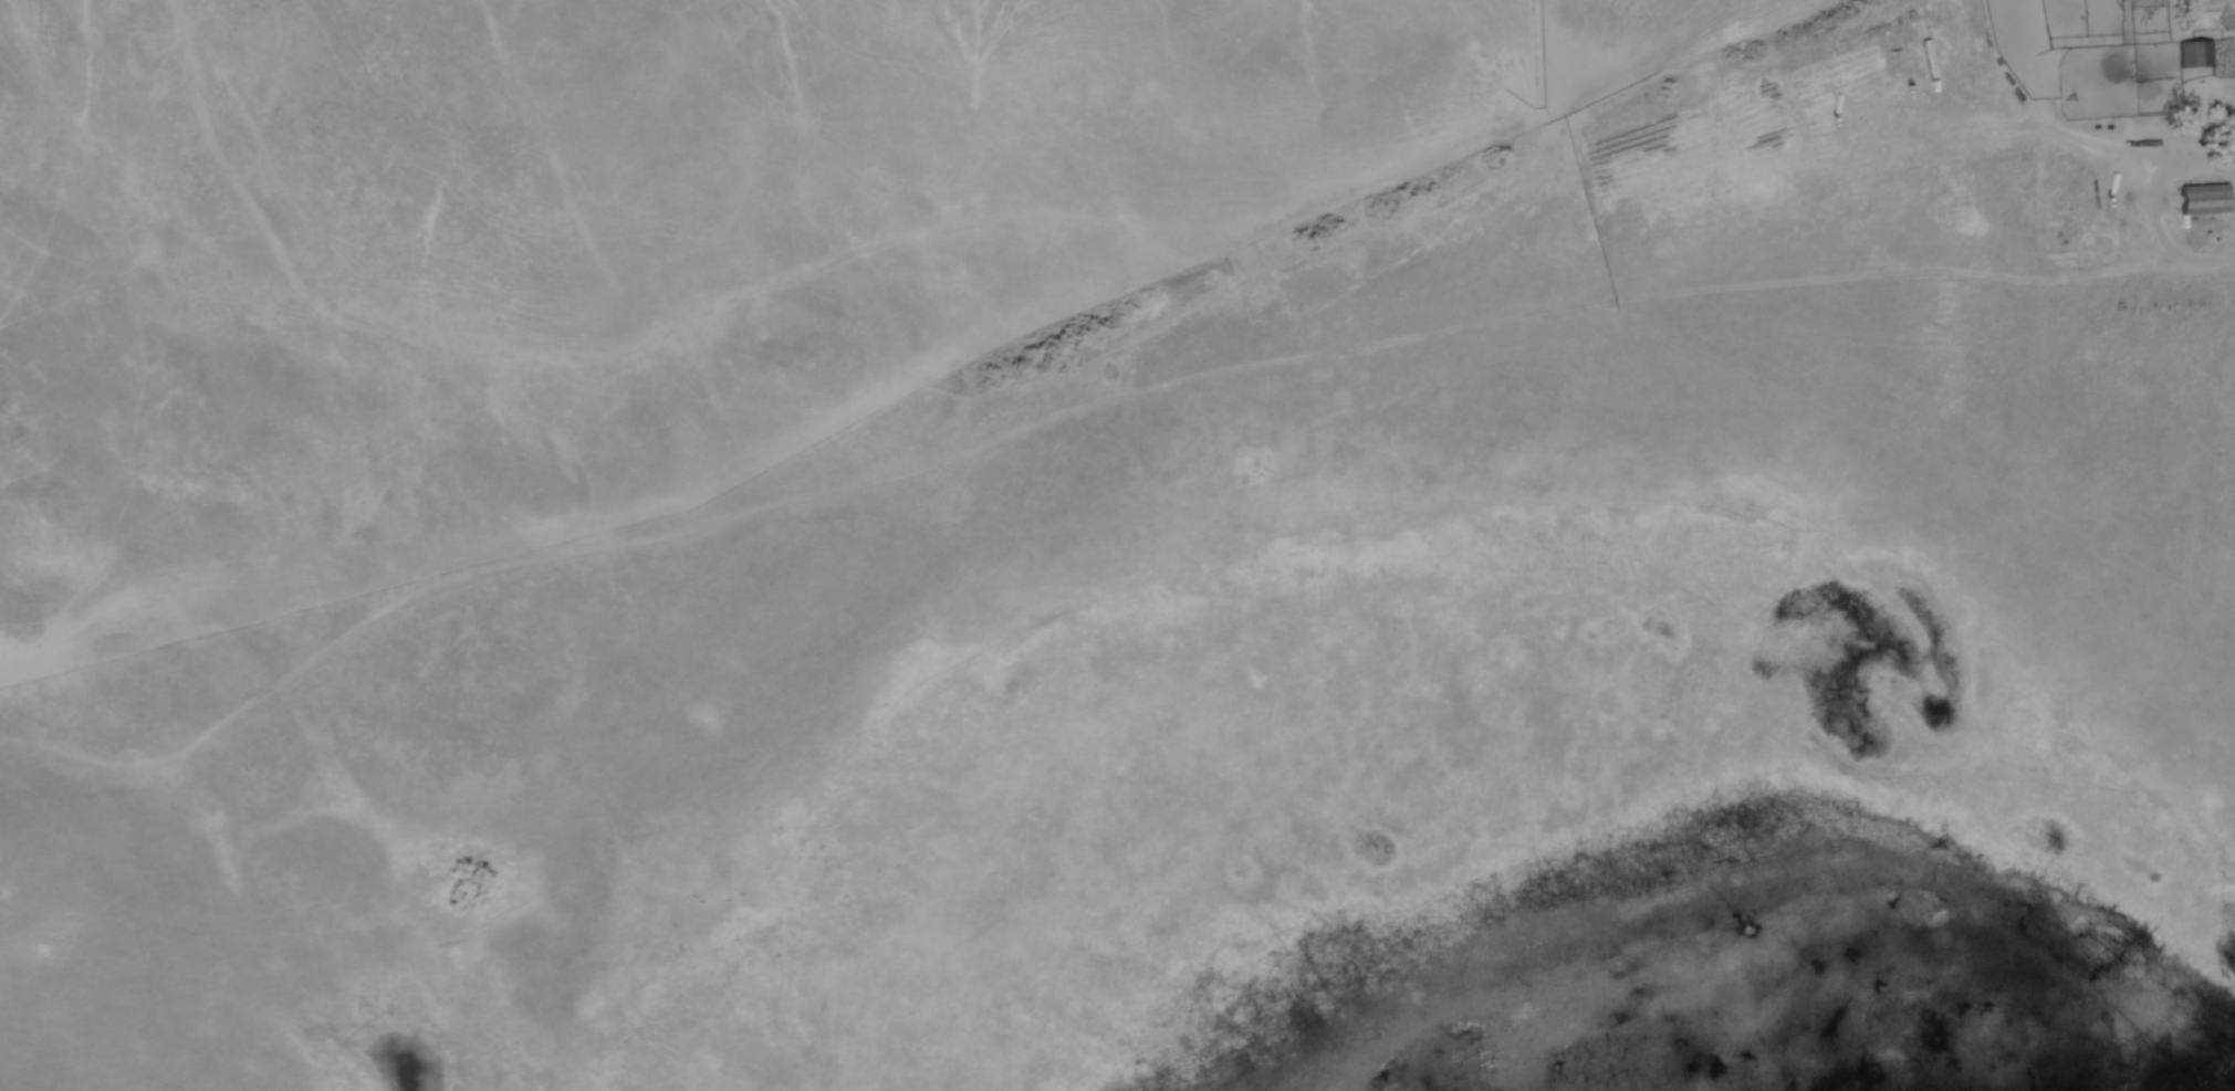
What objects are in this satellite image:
building: (2191, 56)
building: (2199, 201)

